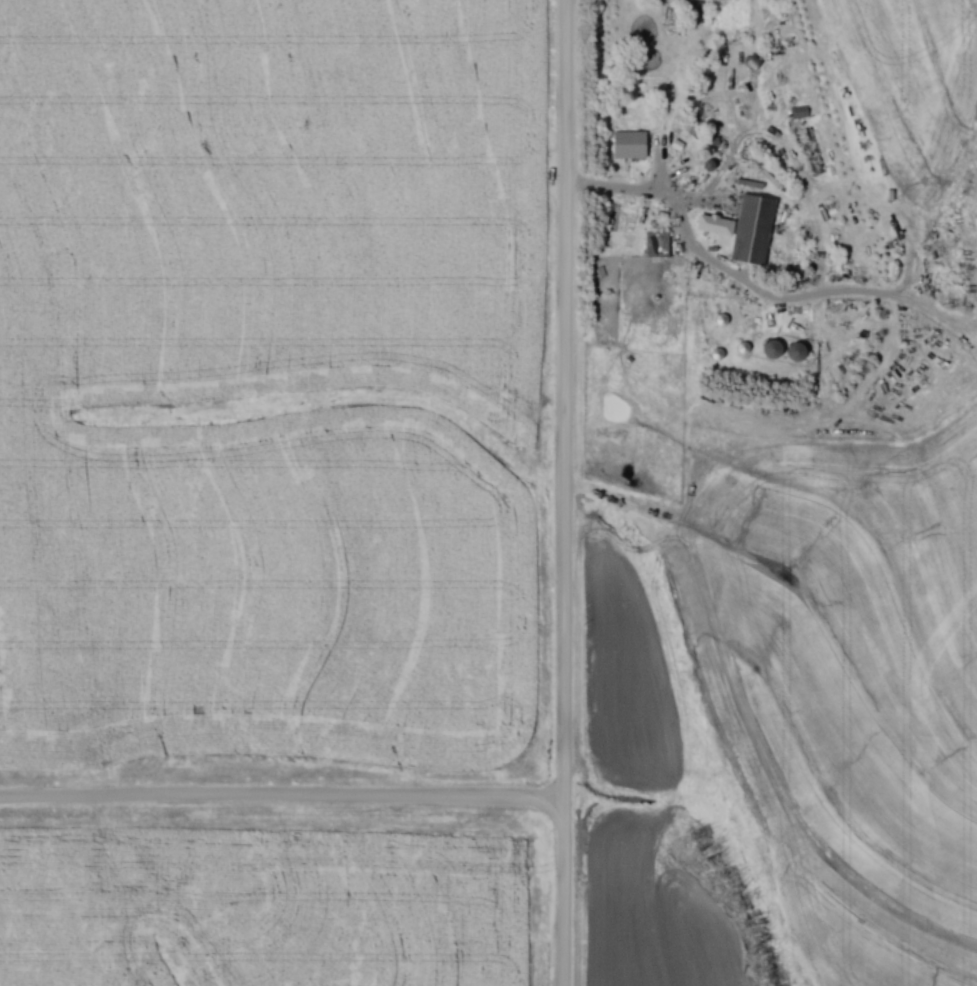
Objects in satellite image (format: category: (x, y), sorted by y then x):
building: (633, 143)
road: (652, 194)
building: (756, 228)
building: (657, 252)
building: (693, 332)
building: (776, 349)
building: (801, 352)
road: (568, 492)
road: (284, 800)

